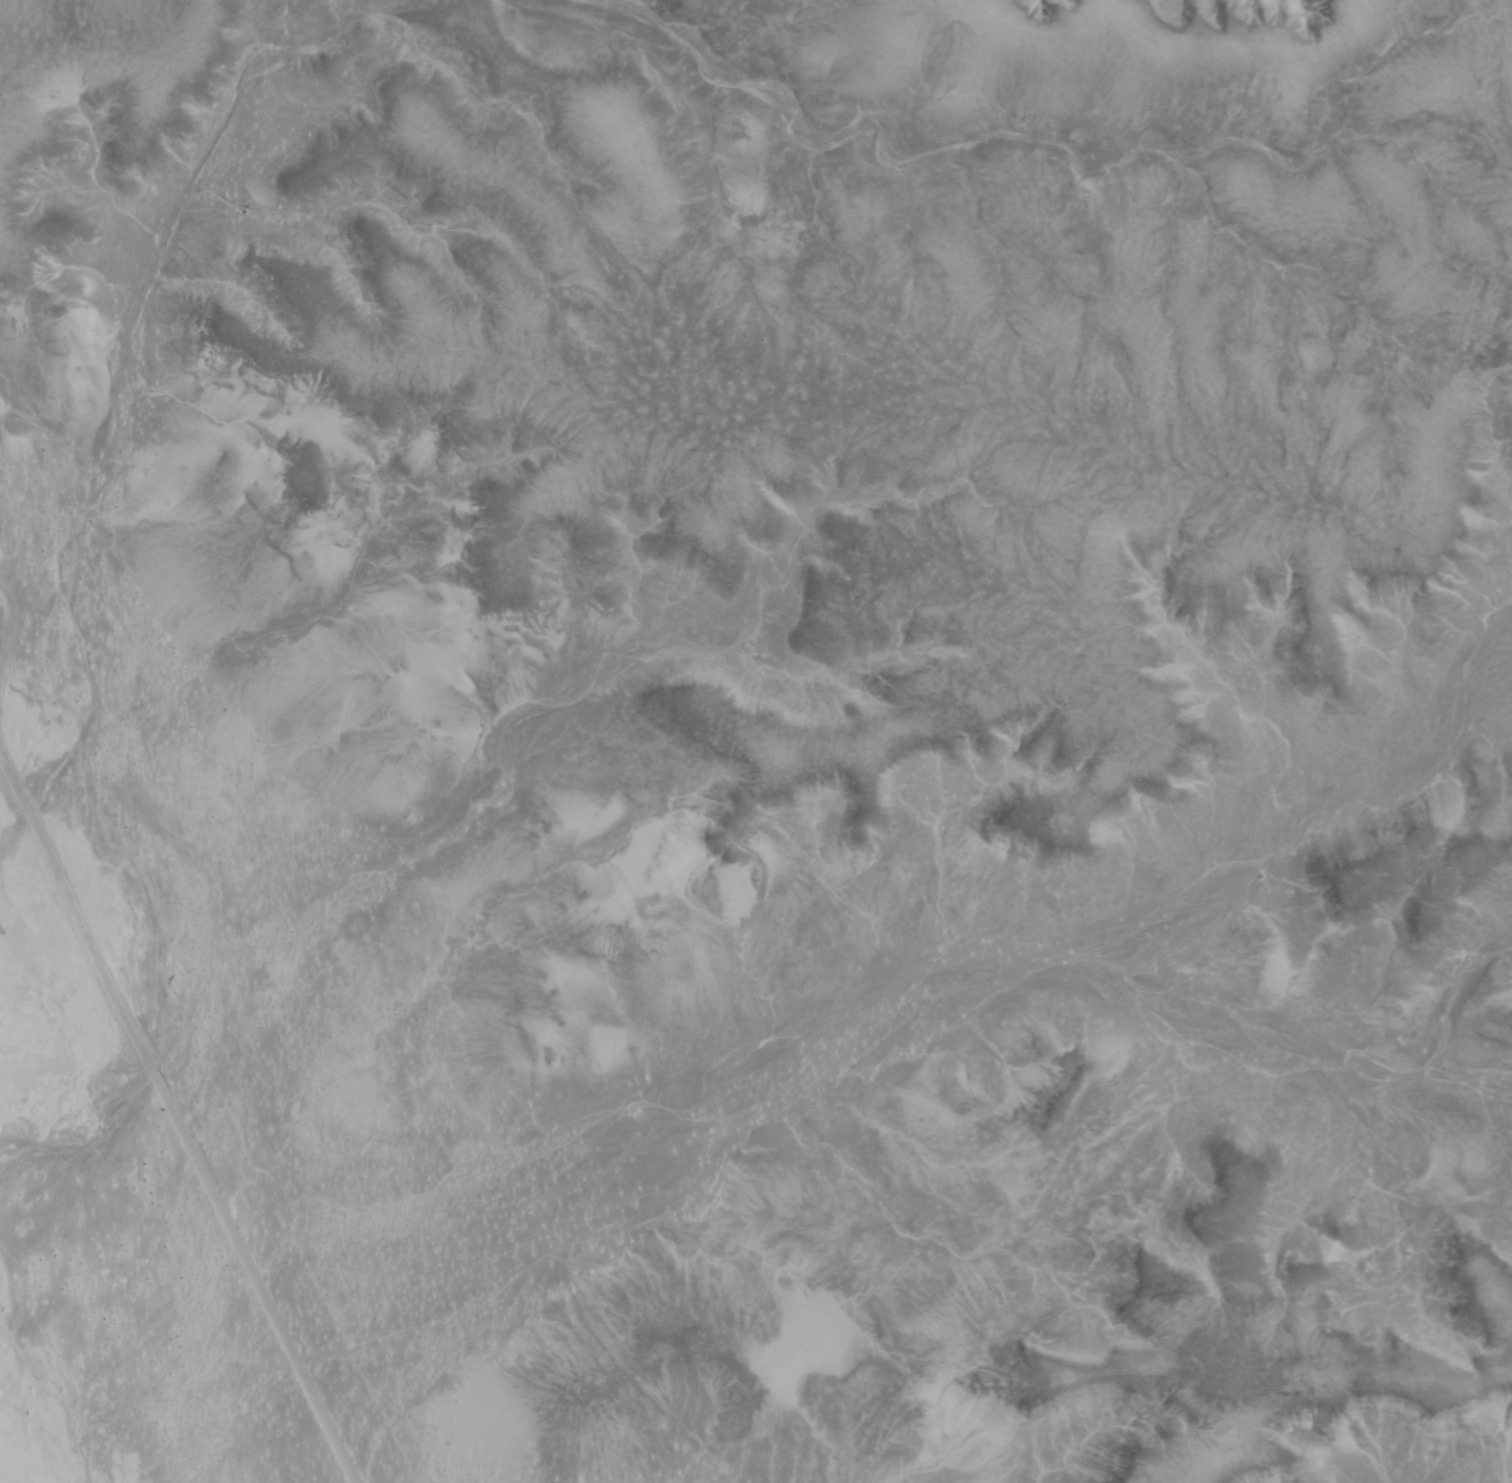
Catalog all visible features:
road: (7, 627)
road: (177, 1111)

